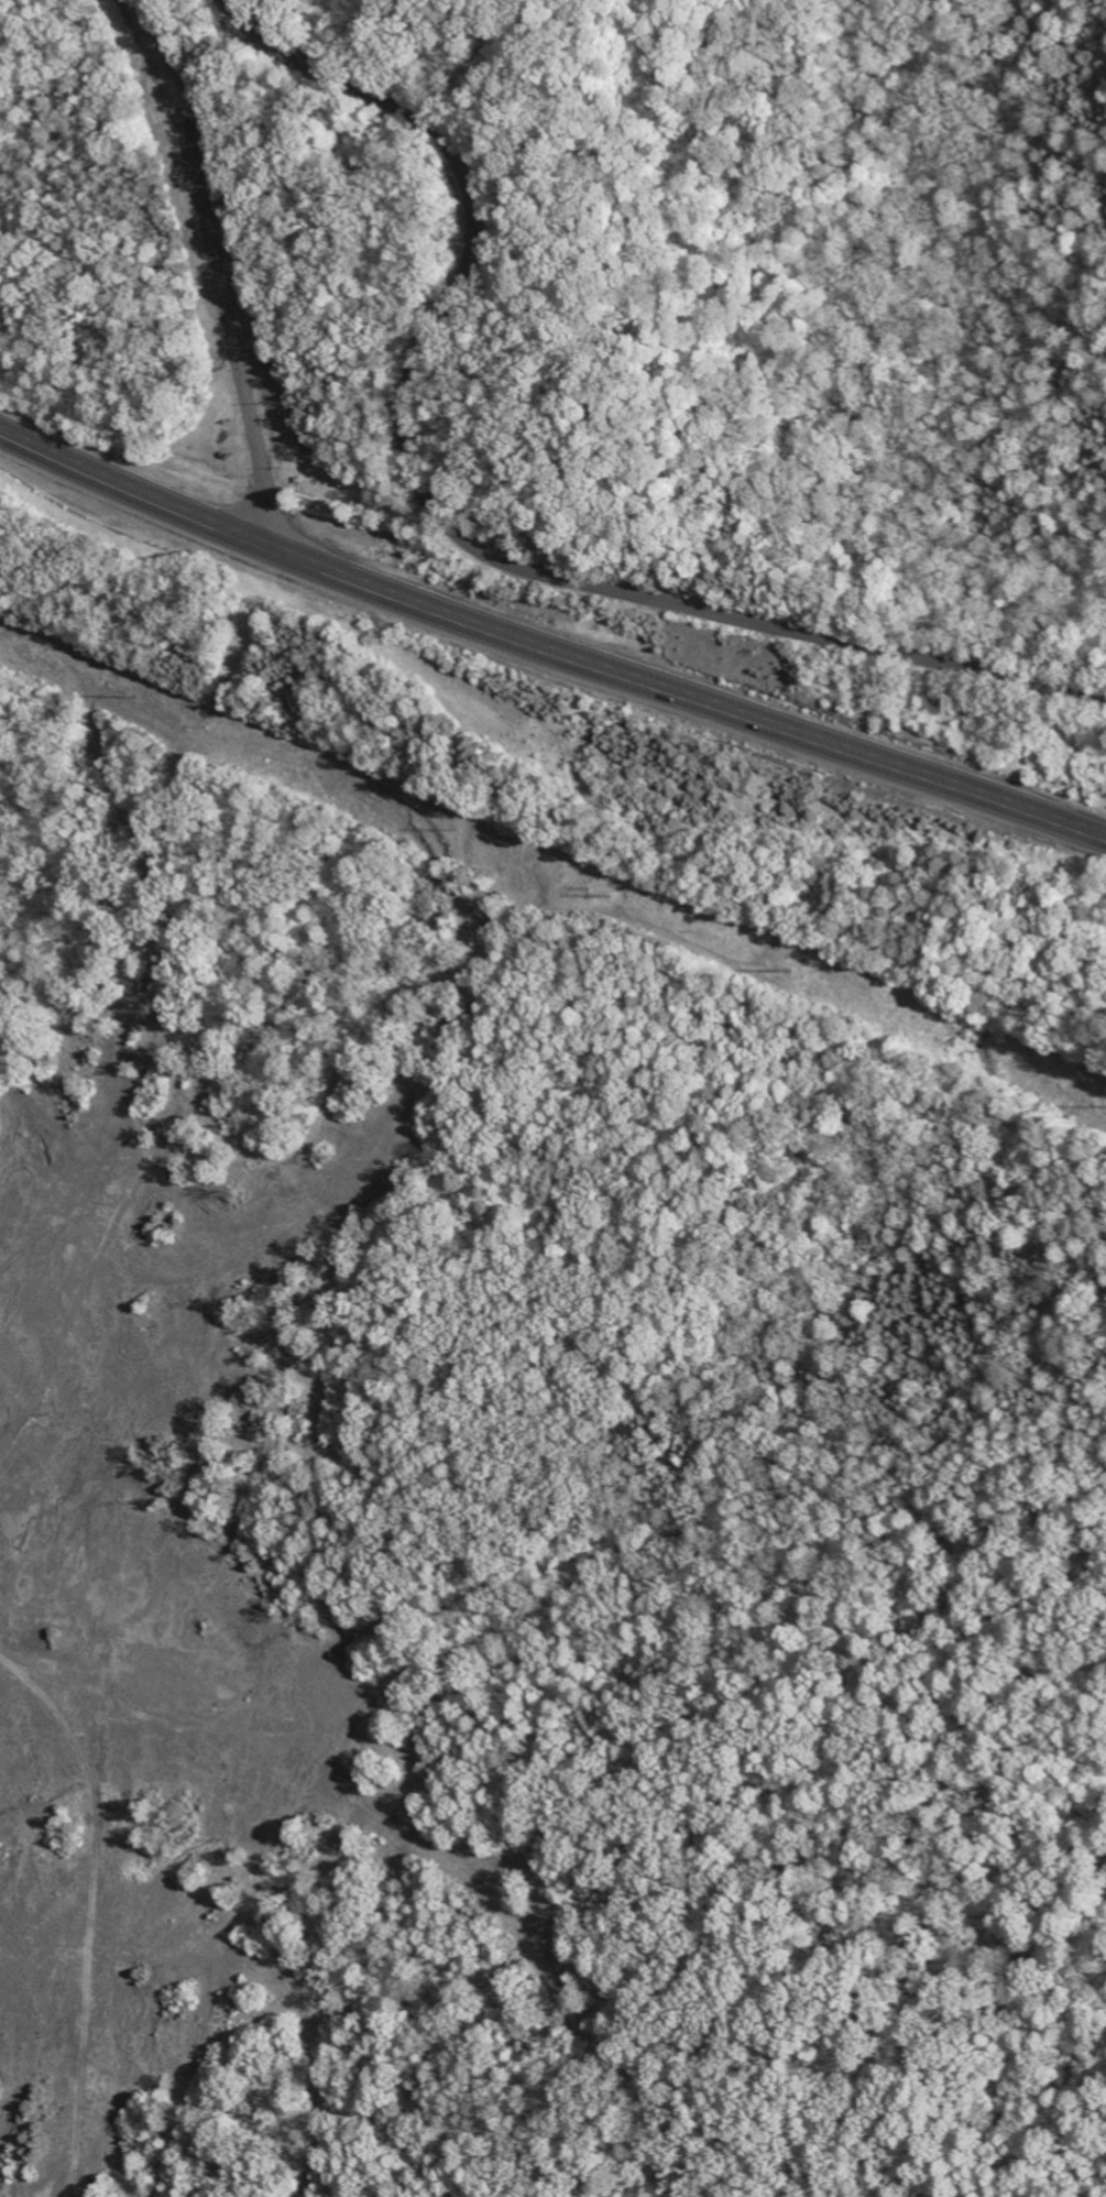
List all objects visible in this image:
road: (219, 269)
road: (449, 525)
road: (546, 654)

